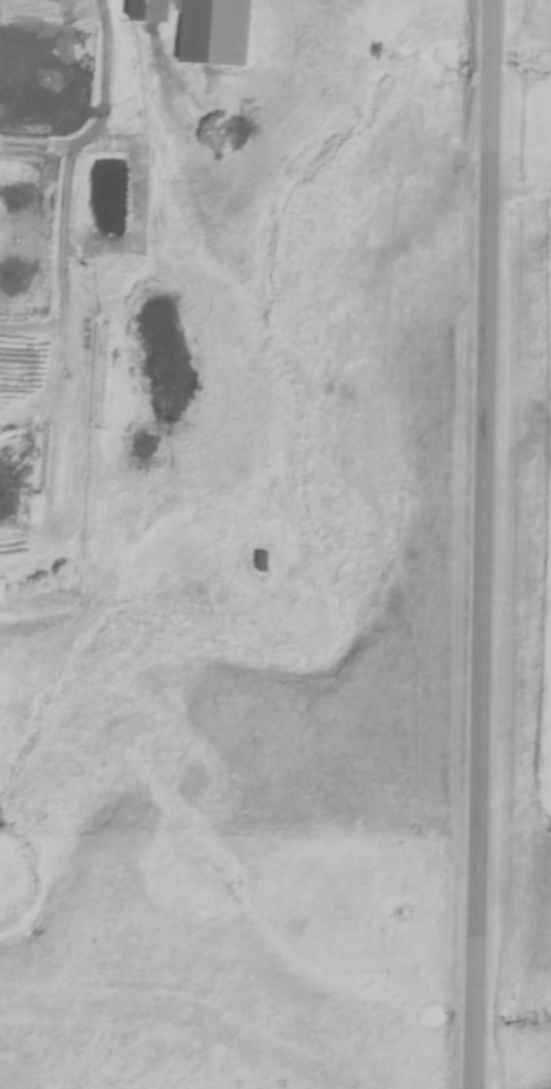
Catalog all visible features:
building: (197, 29)
building: (108, 466)
road: (491, 544)

